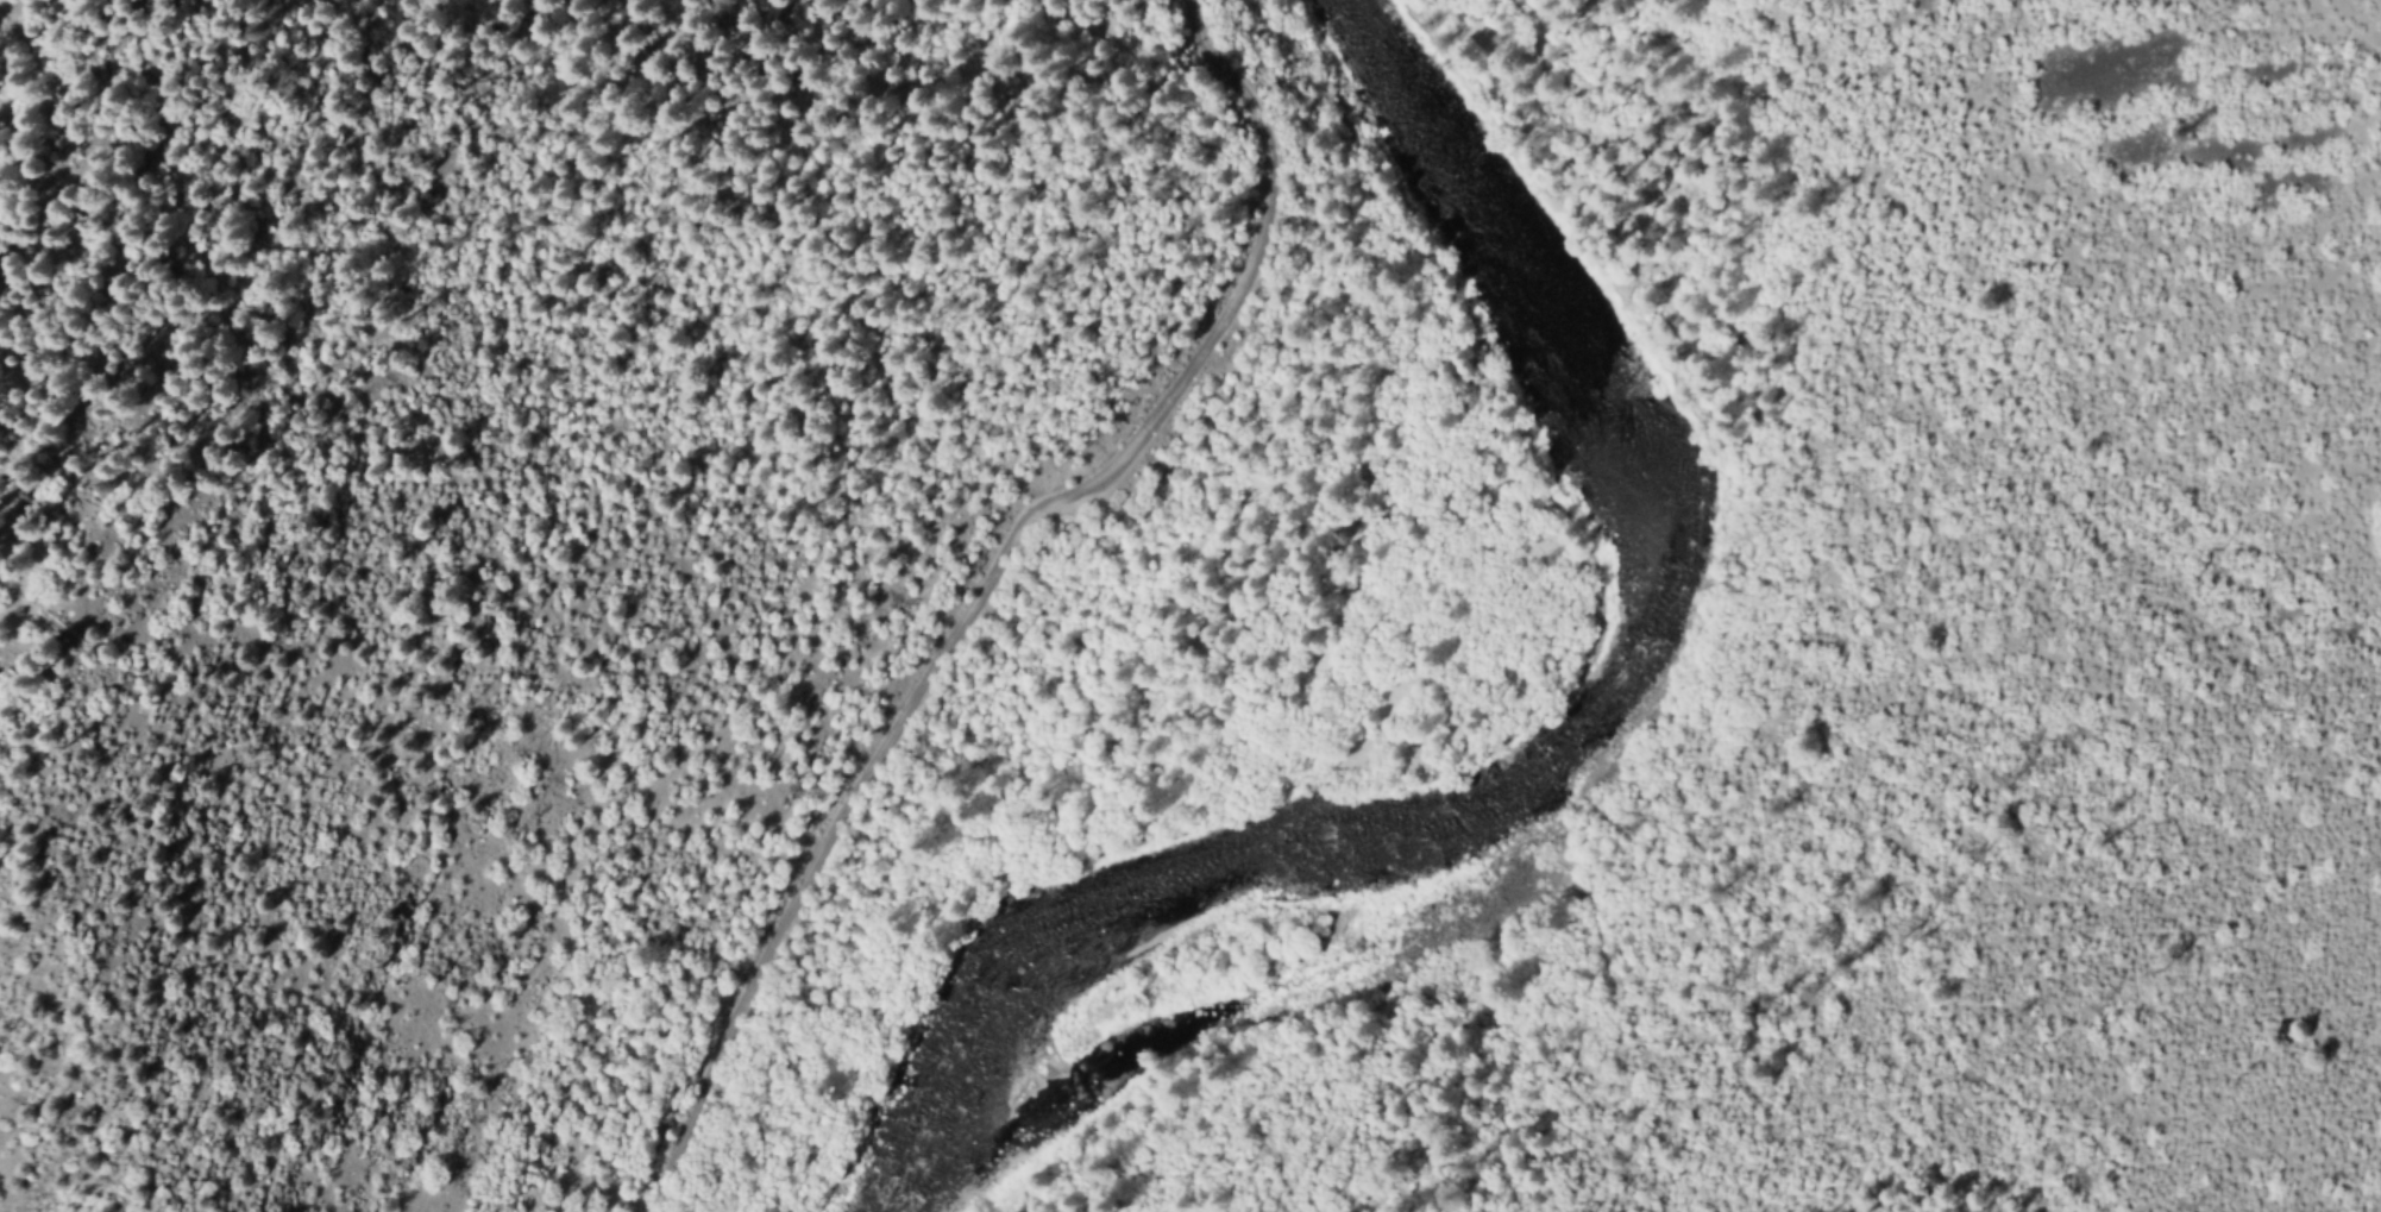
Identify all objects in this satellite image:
road: (982, 578)
river: (1550, 760)

